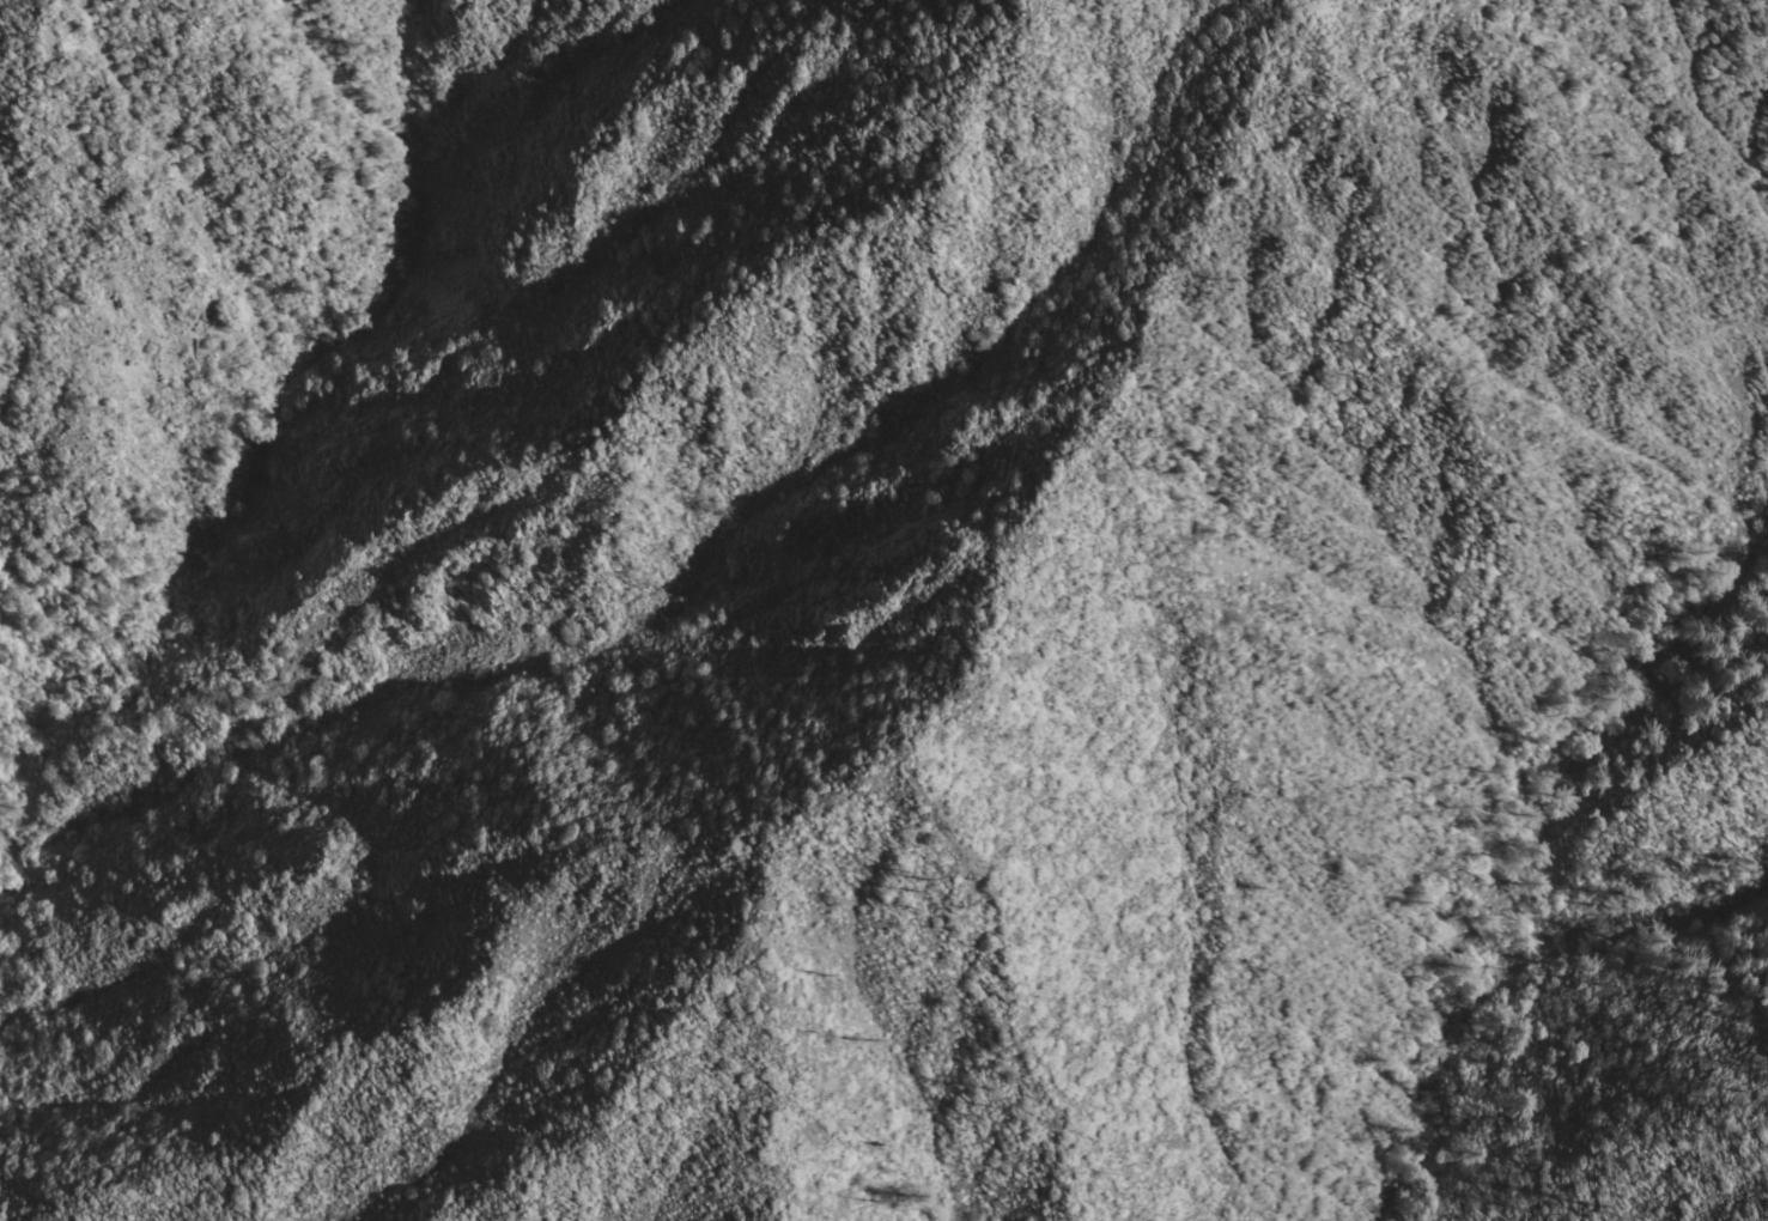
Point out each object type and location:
road: (1302, 2)

